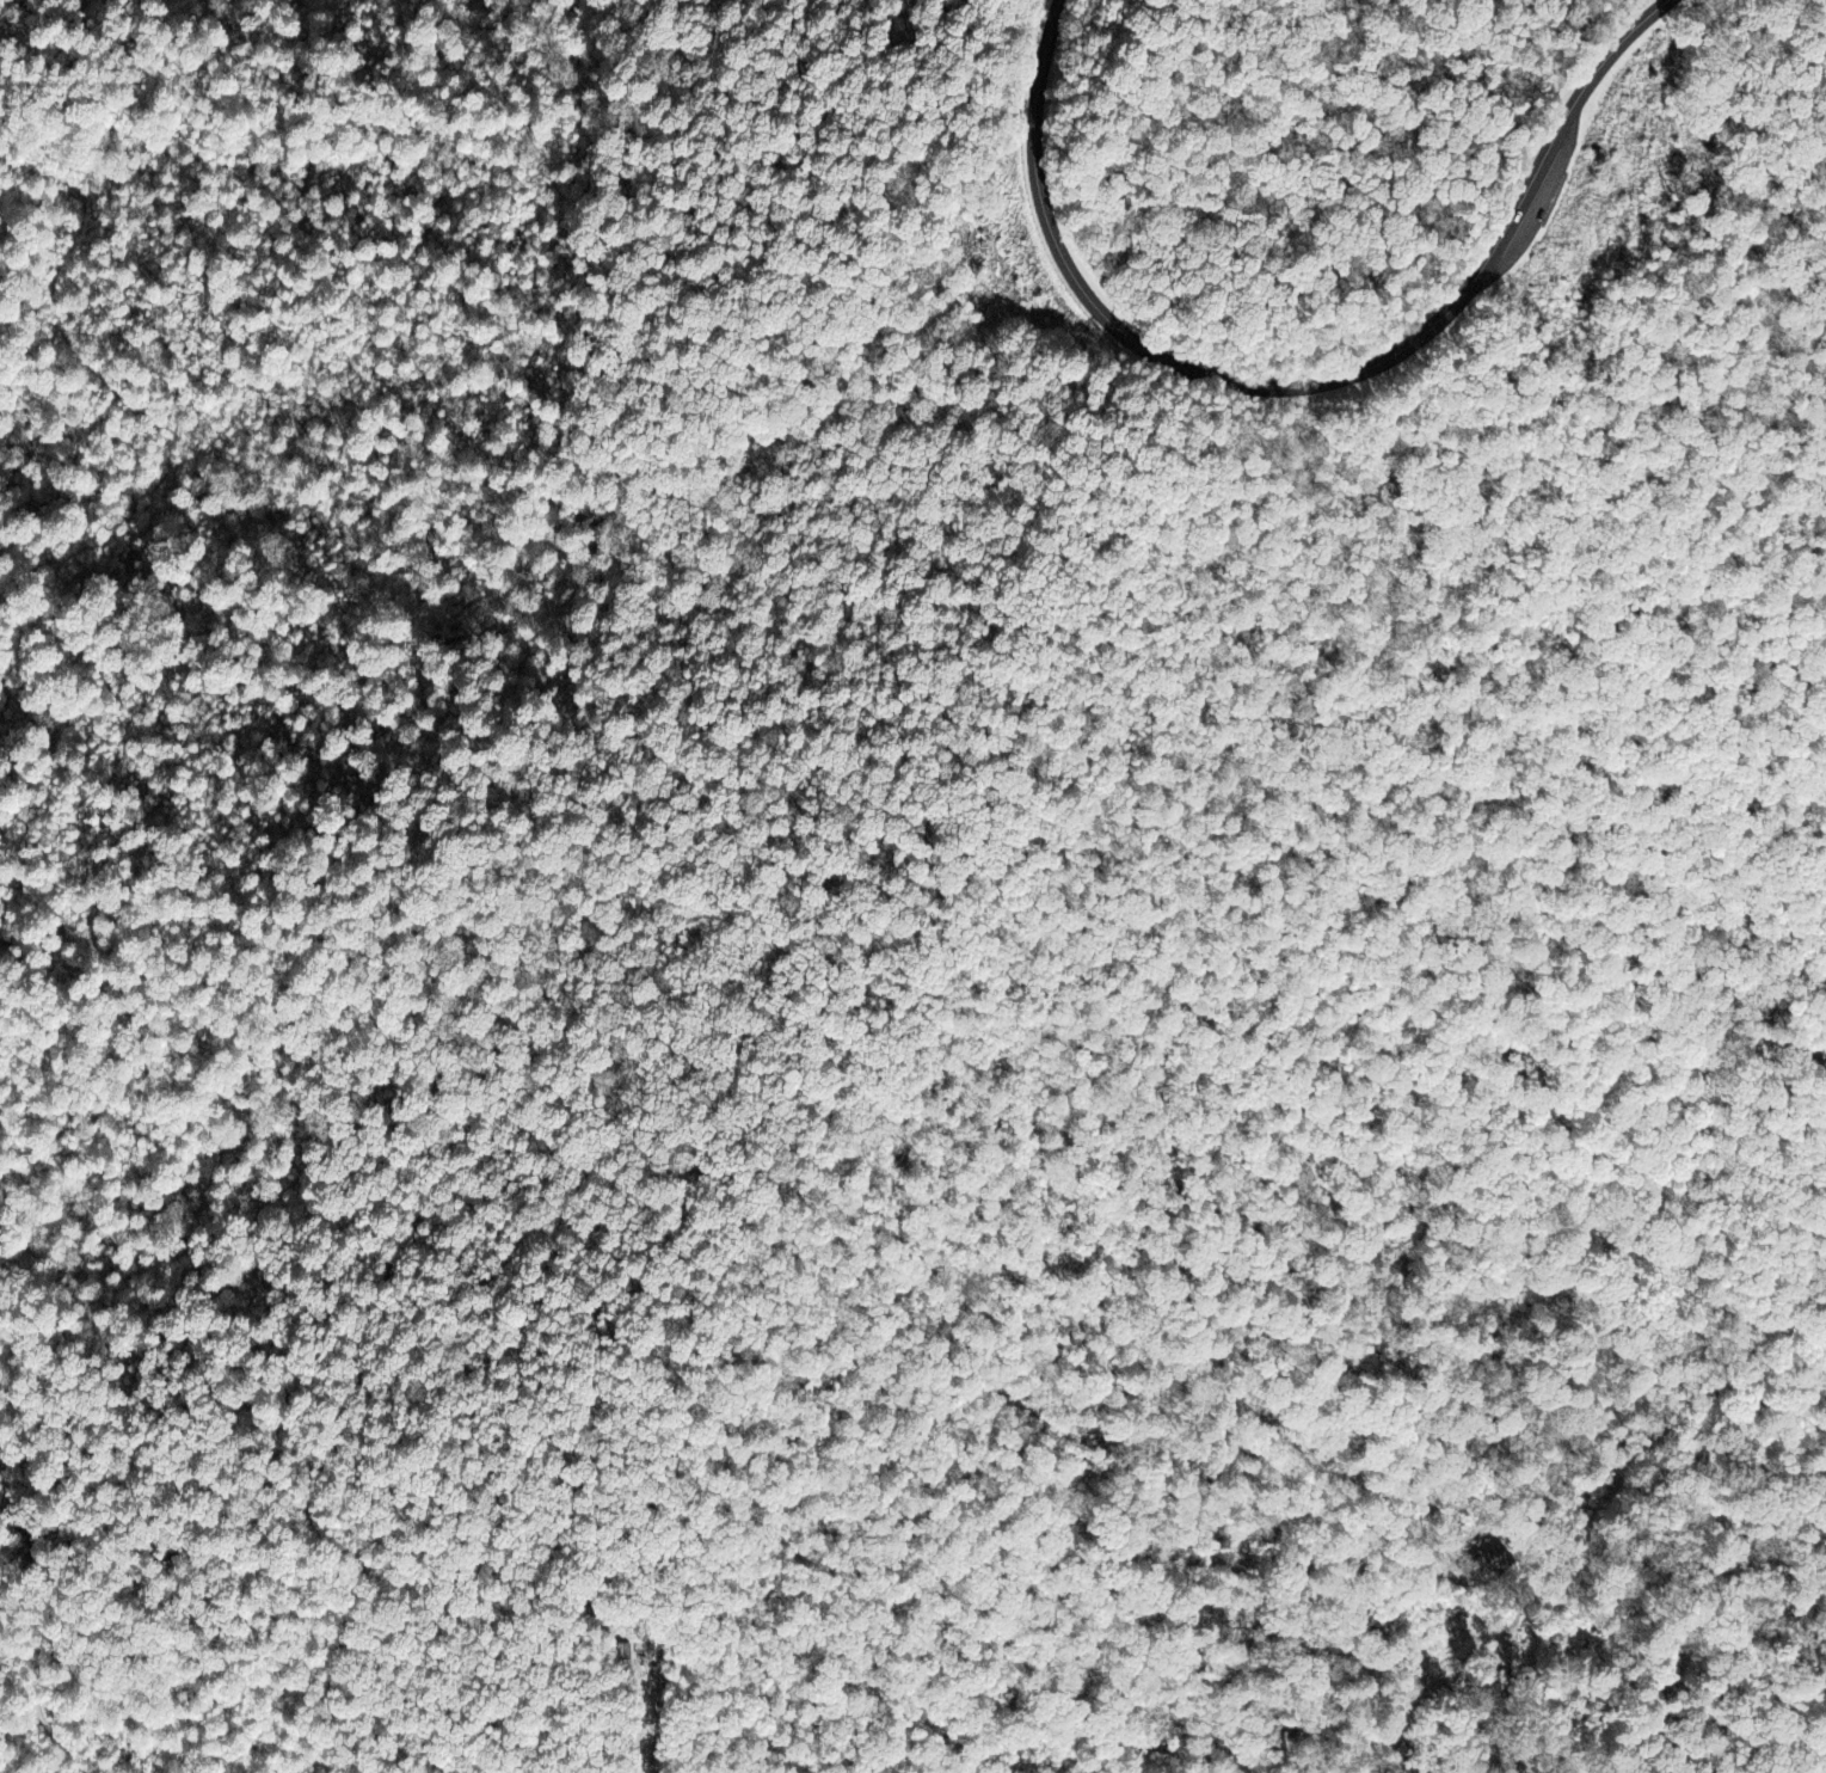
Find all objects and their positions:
road: (1576, 137)
road: (1218, 143)
road: (1538, 205)
parking lot: (1535, 207)
road: (1299, 385)
road: (1784, 1092)
road: (1615, 1473)
road: (439, 1766)

